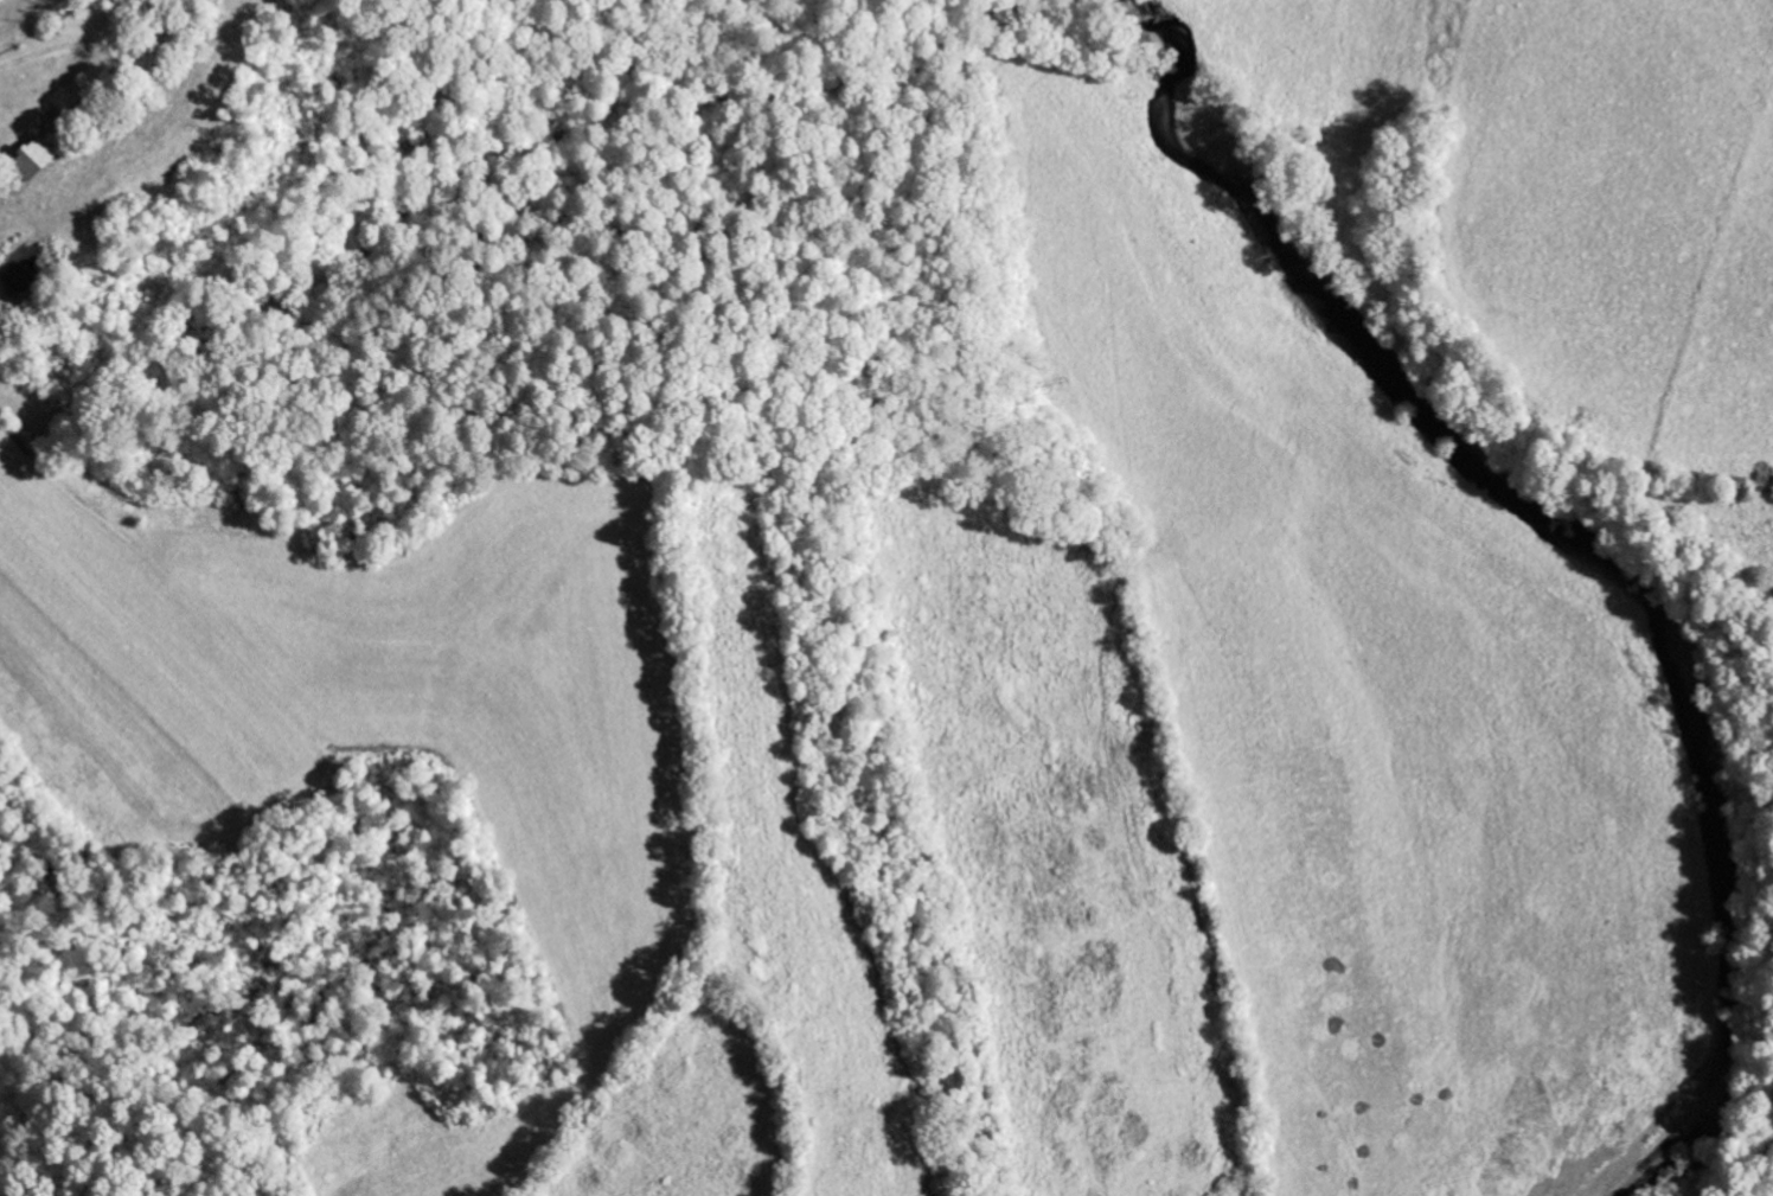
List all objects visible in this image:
building: (28, 159)
park: (1762, 1101)

